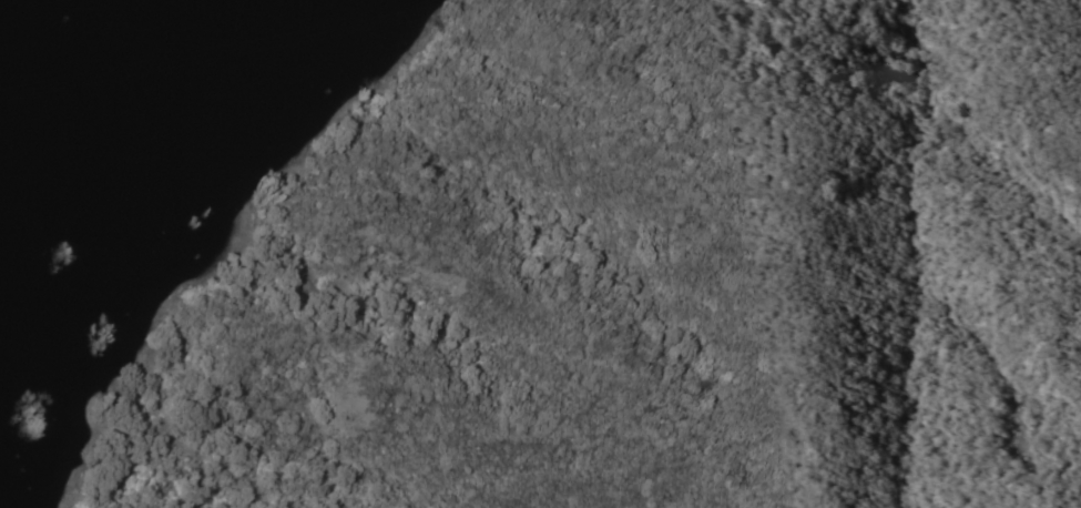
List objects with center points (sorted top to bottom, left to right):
river: (72, 143)

